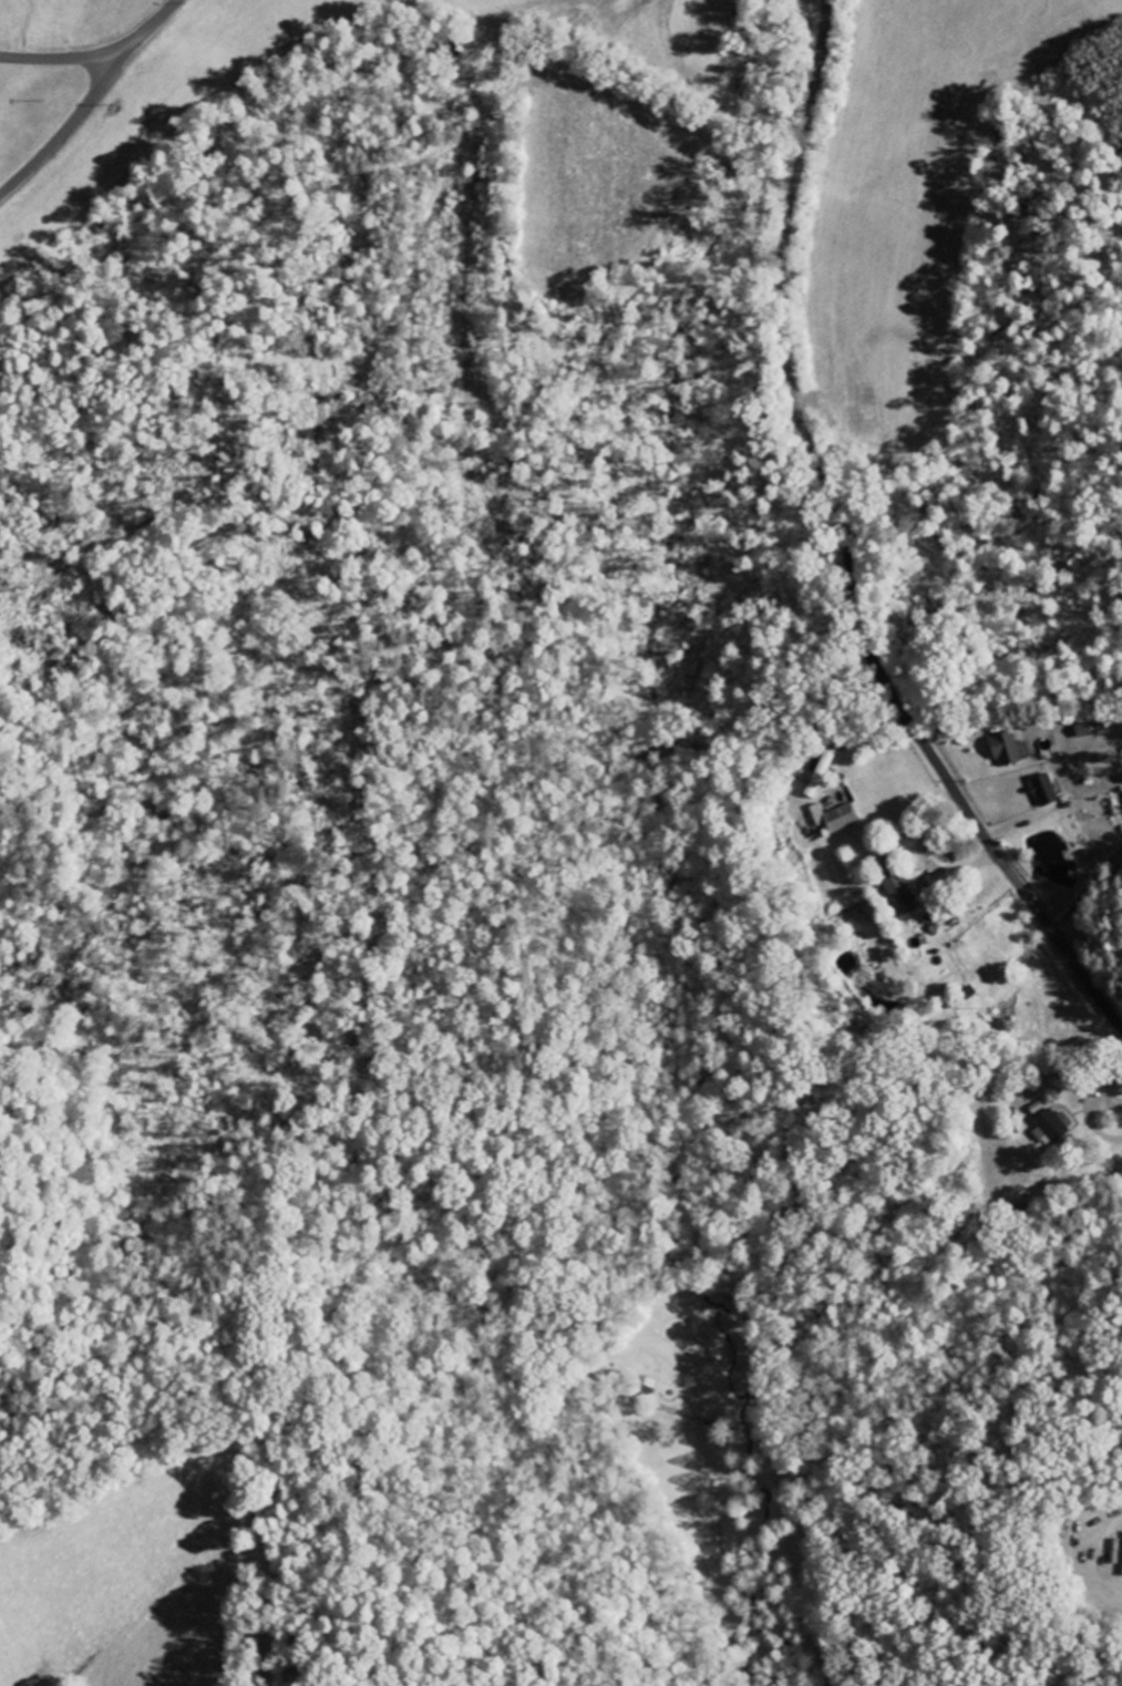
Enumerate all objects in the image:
road: (97, 52)
road: (72, 122)
road: (846, 544)
building: (1009, 749)
building: (820, 774)
building: (1044, 790)
building: (835, 816)
building: (902, 893)
building: (1054, 1124)

